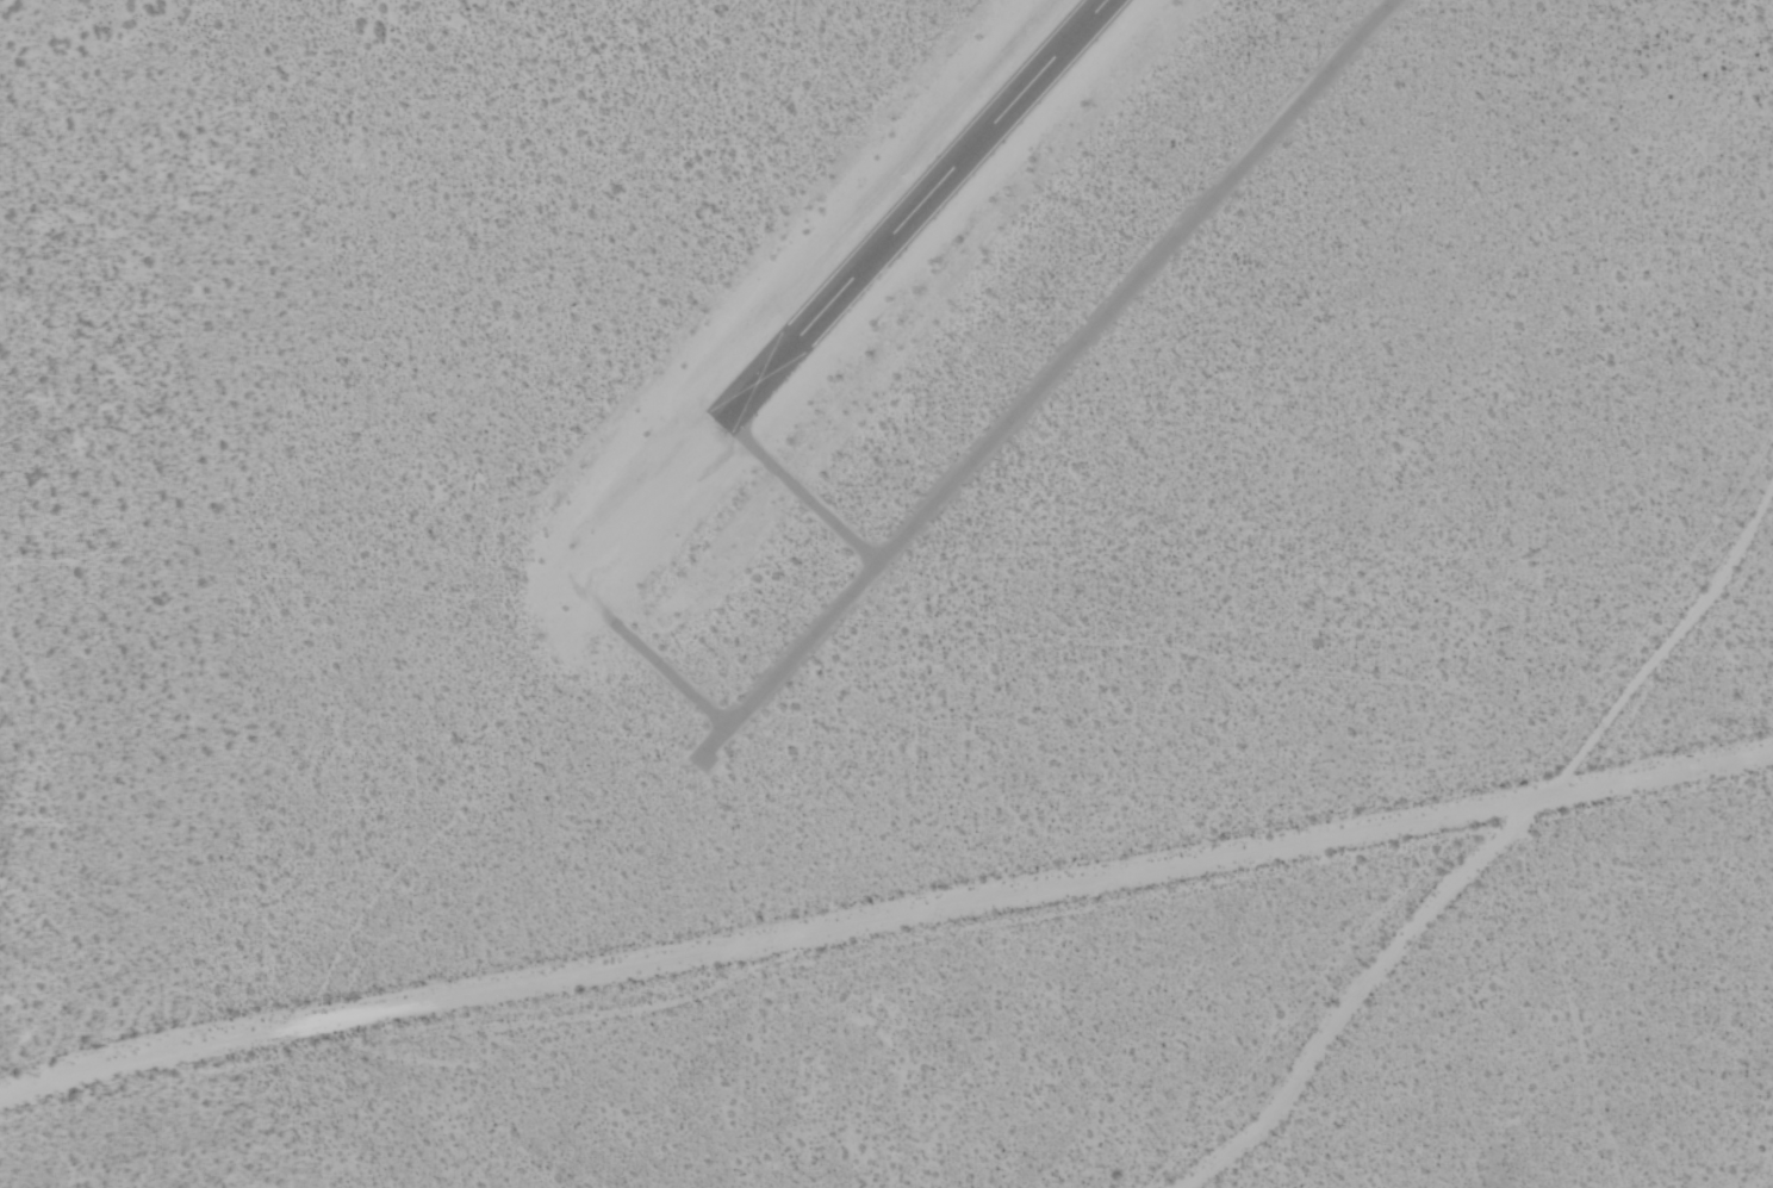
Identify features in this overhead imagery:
airport runway: (910, 211)
road: (1044, 380)
airport: (887, 593)

